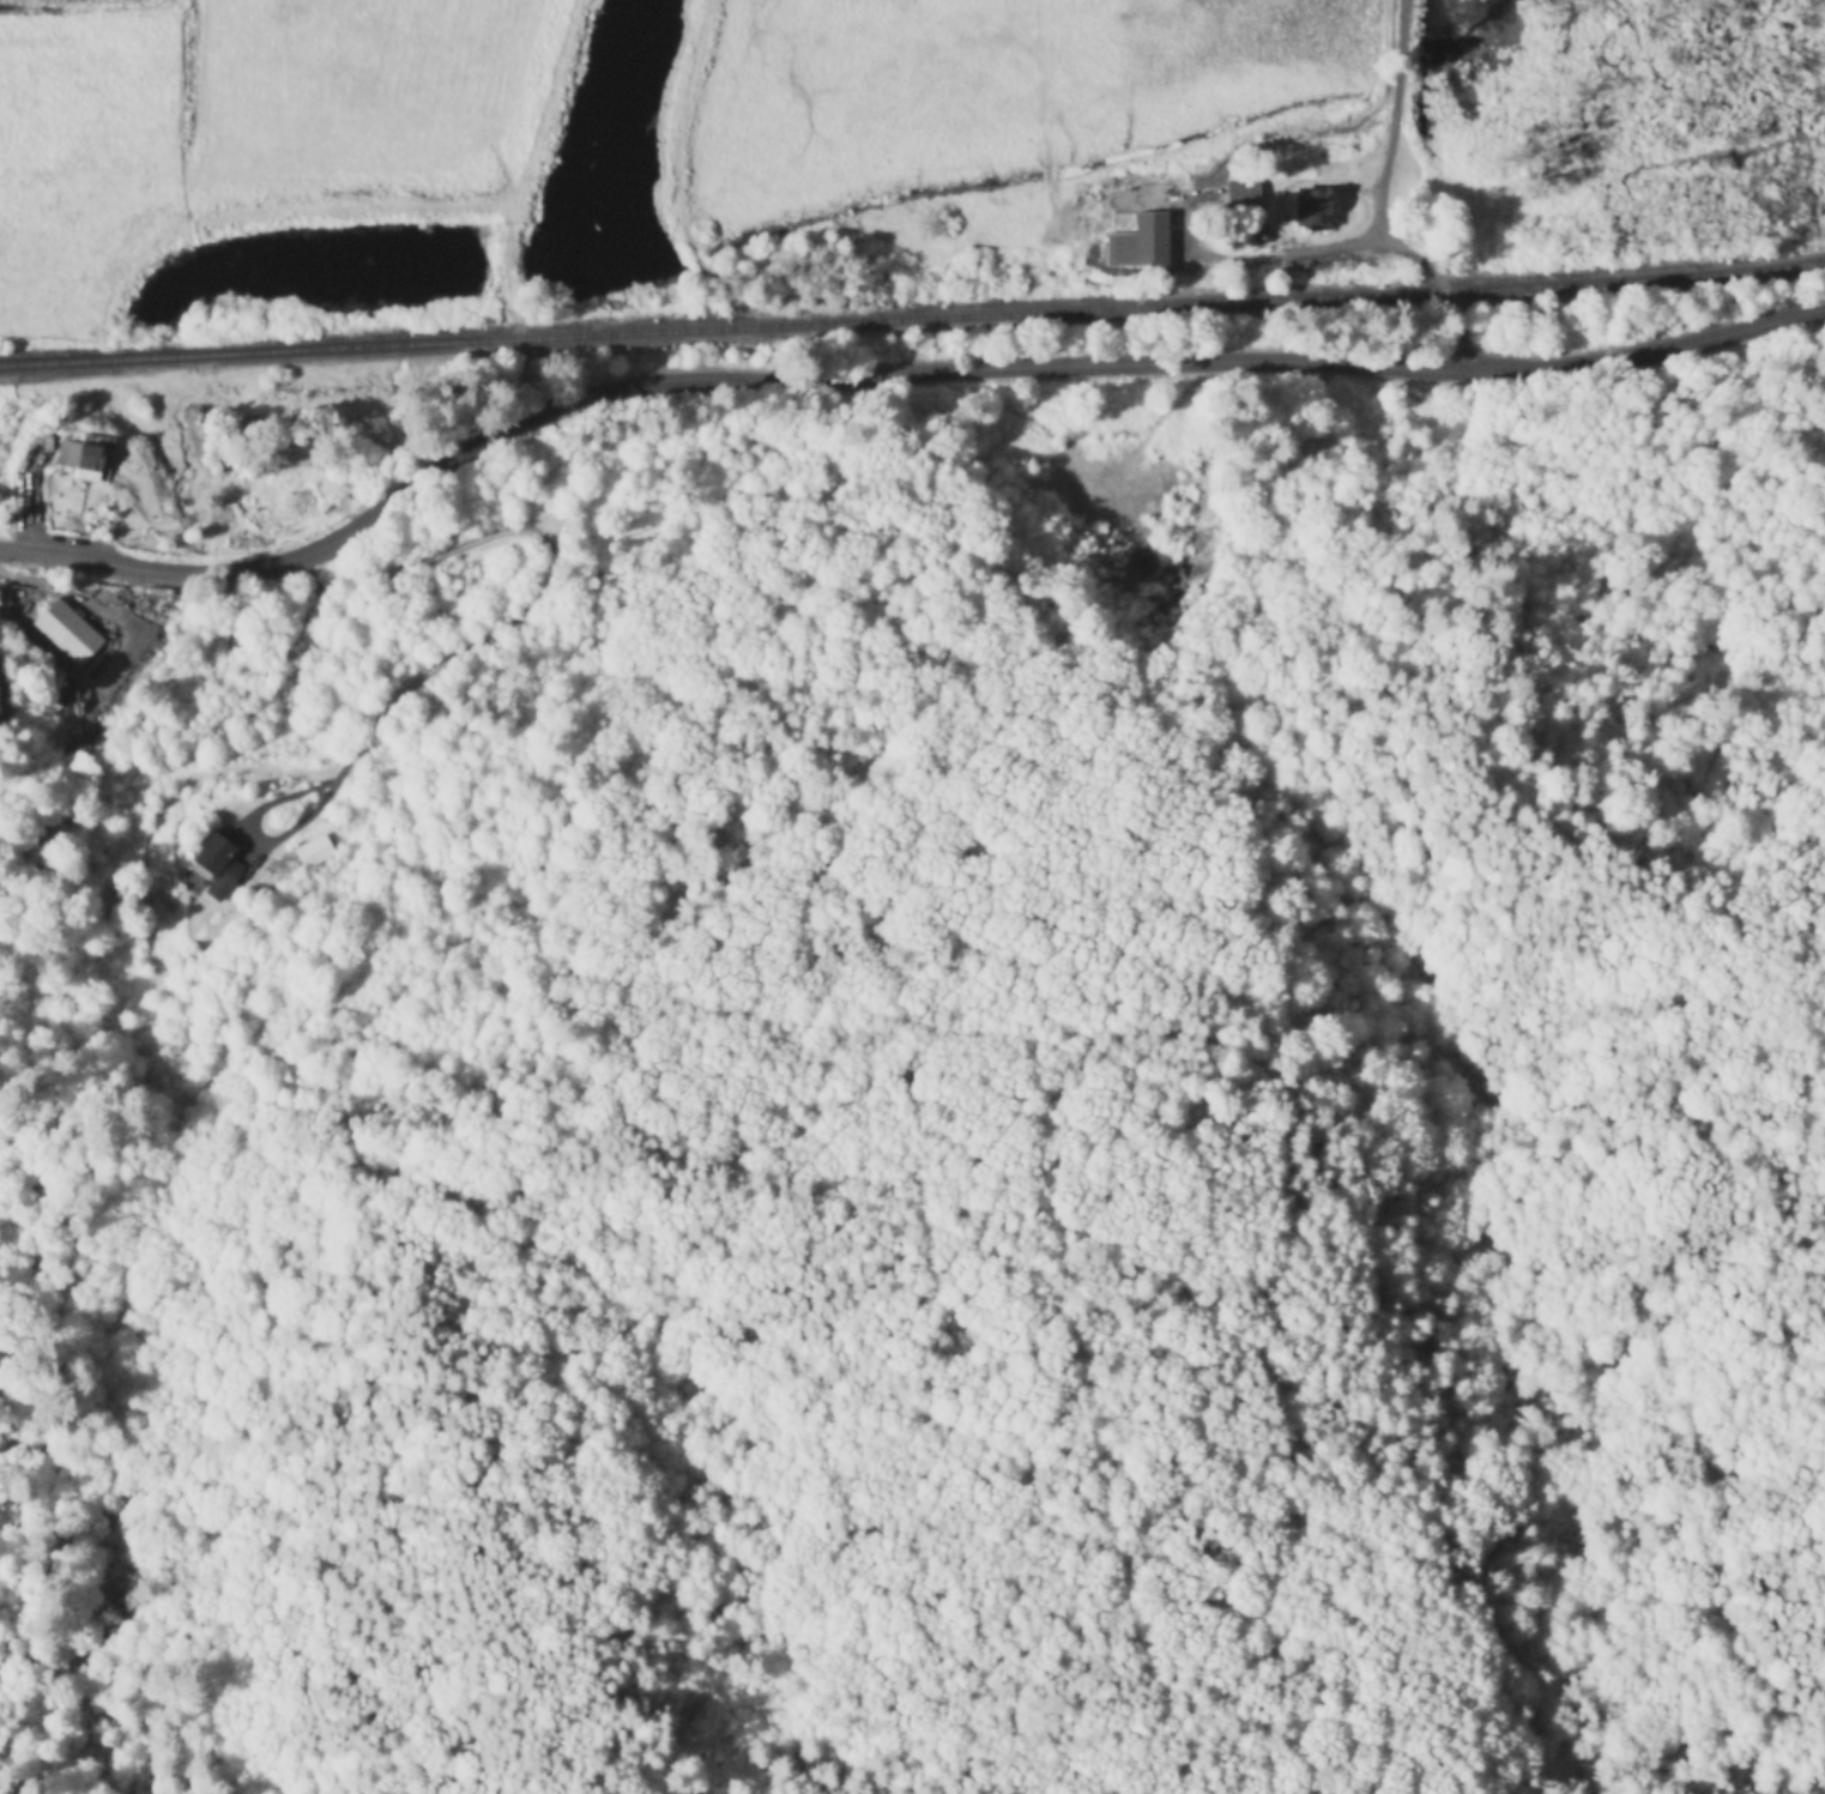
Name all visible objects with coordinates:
river: (609, 133)
building: (1243, 195)
road: (1380, 198)
building: (1313, 212)
building: (1143, 243)
road: (1279, 254)
railway: (912, 319)
road: (1219, 360)
building: (87, 457)
road: (321, 550)
building: (67, 633)
building: (314, 853)
building: (217, 868)

